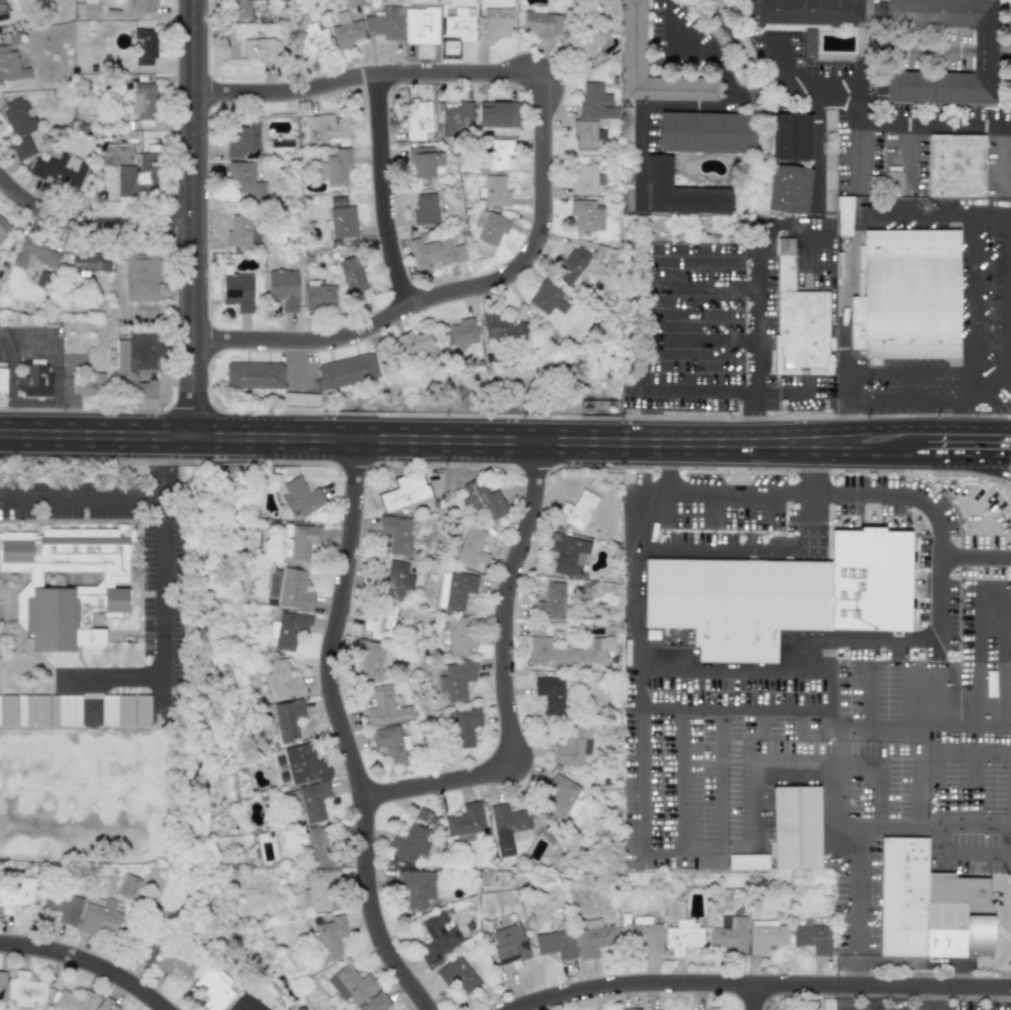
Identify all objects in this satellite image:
building: (352, 2)
building: (144, 6)
building: (238, 8)
building: (85, 9)
building: (2, 11)
building: (807, 11)
building: (387, 22)
building: (460, 23)
building: (541, 23)
building: (494, 24)
building: (420, 25)
building: (345, 30)
building: (312, 38)
building: (634, 38)
building: (580, 41)
building: (810, 42)
building: (145, 46)
building: (259, 49)
building: (984, 49)
road: (711, 55)
building: (11, 65)
road: (373, 88)
road: (758, 91)
building: (144, 101)
building: (595, 102)
road: (673, 106)
building: (497, 114)
building: (17, 117)
building: (417, 119)
building: (457, 119)
road: (875, 119)
building: (829, 120)
building: (625, 123)
building: (330, 128)
building: (706, 132)
building: (586, 133)
building: (791, 136)
building: (242, 140)
building: (22, 147)
road: (816, 147)
building: (499, 148)
road: (860, 152)
building: (425, 161)
building: (955, 165)
building: (335, 167)
building: (60, 170)
building: (138, 176)
road: (2, 177)
building: (584, 178)
building: (245, 181)
building: (893, 182)
building: (788, 189)
building: (680, 191)
building: (494, 194)
road: (394, 200)
building: (425, 209)
building: (585, 213)
road: (193, 215)
building: (341, 218)
building: (479, 219)
building: (3, 228)
building: (492, 228)
road: (85, 230)
building: (241, 231)
road: (846, 247)
building: (433, 252)
building: (34, 254)
road: (707, 256)
building: (89, 262)
building: (571, 264)
building: (352, 274)
building: (140, 277)
road: (703, 286)
building: (283, 288)
building: (237, 291)
road: (970, 291)
building: (910, 295)
building: (319, 297)
building: (548, 297)
road: (458, 301)
road: (1010, 310)
building: (798, 320)
building: (502, 328)
building: (460, 331)
road: (702, 341)
building: (414, 345)
road: (1010, 355)
road: (56, 356)
building: (346, 371)
road: (906, 373)
building: (254, 374)
building: (129, 376)
building: (33, 380)
building: (2, 382)
building: (88, 384)
road: (702, 390)
road: (798, 391)
road: (12, 392)
building: (300, 398)
road: (906, 400)
road: (970, 400)
road: (649, 413)
road: (756, 414)
road: (924, 426)
road: (421, 433)
road: (881, 453)
road: (968, 454)
road: (165, 466)
road: (810, 467)
building: (271, 482)
building: (405, 492)
road: (831, 495)
building: (303, 500)
building: (483, 500)
road: (83, 502)
building: (578, 510)
building: (396, 534)
building: (299, 542)
building: (471, 549)
building: (567, 554)
road: (635, 561)
building: (397, 580)
building: (67, 583)
building: (456, 589)
building: (295, 590)
building: (781, 595)
building: (551, 602)
road: (164, 608)
building: (380, 621)
building: (287, 630)
building: (459, 636)
road: (892, 639)
building: (570, 651)
building: (369, 659)
road: (1004, 664)
road: (751, 668)
road: (513, 675)
road: (112, 678)
building: (457, 679)
building: (282, 680)
building: (551, 694)
building: (386, 708)
road: (659, 709)
road: (702, 709)
building: (8, 710)
building: (32, 710)
building: (65, 710)
building: (117, 710)
building: (142, 710)
road: (779, 710)
road: (834, 717)
building: (288, 719)
road: (343, 727)
building: (464, 727)
road: (968, 727)
road: (834, 734)
building: (389, 743)
building: (573, 746)
building: (304, 764)
road: (1009, 766)
building: (562, 797)
building: (314, 801)
road: (725, 805)
building: (423, 815)
building: (465, 820)
building: (510, 824)
road: (968, 824)
road: (888, 826)
building: (797, 828)
building: (411, 843)
road: (640, 844)
building: (317, 846)
road: (960, 856)
building: (748, 862)
building: (128, 887)
building: (416, 888)
building: (320, 891)
building: (15, 894)
road: (1010, 905)
building: (929, 906)
road: (852, 907)
building: (66, 908)
building: (99, 916)
building: (643, 935)
building: (730, 935)
building: (766, 936)
building: (438, 937)
building: (330, 938)
building: (594, 938)
building: (813, 938)
building: (682, 939)
building: (509, 944)
building: (556, 944)
building: (149, 953)
road: (954, 964)
road: (88, 965)
building: (458, 975)
road: (957, 976)
building: (351, 984)
road: (759, 984)
building: (2, 986)
building: (25, 988)
building: (214, 988)
road: (754, 997)
road: (935, 998)
building: (75, 1001)
building: (246, 1003)
building: (375, 1003)
building: (108, 1005)
road: (868, 1008)
building: (631, 1009)

